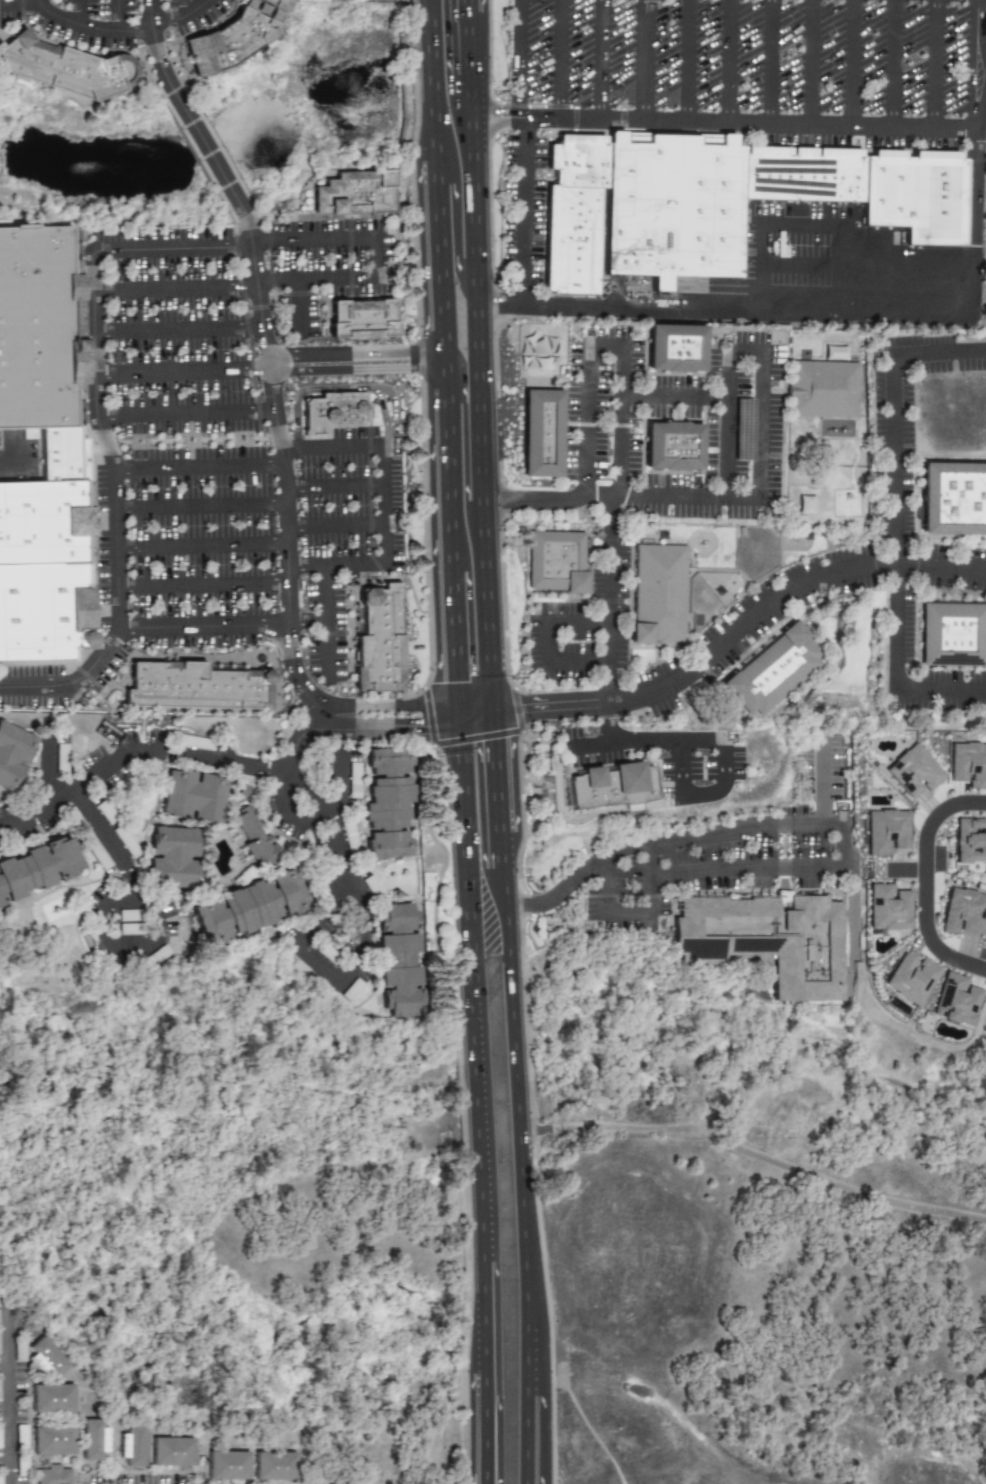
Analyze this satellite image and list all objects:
road: (20, 5)
road: (465, 6)
road: (188, 7)
road: (81, 13)
road: (117, 16)
road: (184, 18)
parking lot: (113, 21)
road: (90, 29)
building: (234, 36)
road: (467, 43)
road: (156, 48)
road: (518, 58)
road: (559, 59)
road: (600, 60)
road: (643, 60)
road: (683, 61)
road: (726, 61)
road: (769, 62)
road: (811, 62)
road: (853, 63)
road: (893, 63)
road: (934, 64)
parking lot: (755, 69)
building: (63, 70)
road: (426, 80)
road: (491, 90)
road: (722, 122)
road: (209, 153)
road: (429, 171)
building: (866, 187)
road: (489, 194)
building: (352, 197)
road: (430, 197)
building: (671, 206)
parking lot: (523, 209)
road: (523, 212)
building: (573, 214)
building: (600, 215)
road: (801, 226)
road: (376, 256)
road: (450, 260)
road: (866, 268)
road: (437, 282)
road: (176, 288)
road: (868, 307)
road: (298, 309)
building: (362, 322)
building: (42, 331)
road: (180, 331)
road: (606, 347)
building: (674, 349)
building: (834, 353)
road: (440, 364)
road: (96, 367)
road: (271, 368)
road: (184, 374)
road: (338, 388)
road: (763, 388)
road: (477, 389)
building: (822, 390)
road: (727, 396)
road: (393, 403)
building: (335, 413)
road: (186, 414)
building: (540, 432)
building: (671, 446)
road: (464, 449)
parking lot: (226, 453)
road: (283, 464)
road: (200, 469)
road: (5, 470)
road: (442, 472)
road: (335, 488)
road: (621, 498)
building: (952, 499)
road: (385, 503)
building: (805, 505)
road: (202, 508)
road: (894, 520)
road: (336, 527)
road: (203, 547)
building: (51, 558)
building: (555, 562)
road: (203, 588)
road: (935, 590)
road: (855, 593)
building: (658, 595)
road: (781, 595)
building: (704, 610)
road: (329, 624)
road: (308, 625)
road: (203, 629)
building: (952, 635)
road: (445, 637)
road: (547, 640)
building: (383, 647)
building: (772, 671)
traffic signals: (446, 683)
road: (72, 685)
building: (202, 688)
parking lot: (944, 691)
road: (548, 700)
road: (469, 704)
road: (385, 706)
road: (448, 711)
road: (491, 713)
road: (550, 717)
traffic signals: (449, 718)
road: (326, 719)
road: (412, 728)
road: (621, 737)
road: (299, 739)
building: (195, 743)
road: (587, 743)
building: (15, 755)
road: (45, 762)
building: (968, 765)
building: (913, 772)
road: (495, 778)
road: (823, 782)
building: (611, 786)
road: (305, 789)
building: (195, 796)
building: (392, 804)
road: (320, 814)
road: (725, 831)
building: (886, 832)
building: (350, 837)
building: (88, 839)
building: (125, 841)
building: (253, 842)
building: (969, 842)
road: (498, 852)
building: (175, 857)
road: (748, 869)
building: (39, 871)
road: (348, 883)
road: (928, 885)
building: (251, 907)
building: (888, 908)
road: (631, 912)
building: (963, 912)
road: (101, 915)
building: (768, 940)
building: (402, 962)
building: (307, 975)
building: (910, 979)
road: (466, 989)
building: (352, 991)
building: (956, 1000)
road: (517, 1098)
road: (539, 1133)
road: (481, 1318)
building: (48, 1357)
road: (15, 1390)
building: (56, 1399)
road: (527, 1401)
road: (482, 1425)
building: (97, 1436)
building: (56, 1442)
building: (136, 1444)
building: (176, 1449)
building: (231, 1463)
building: (280, 1465)
building: (57, 1474)
road: (481, 1480)
road: (483, 1480)
road: (529, 1480)
road: (531, 1480)

